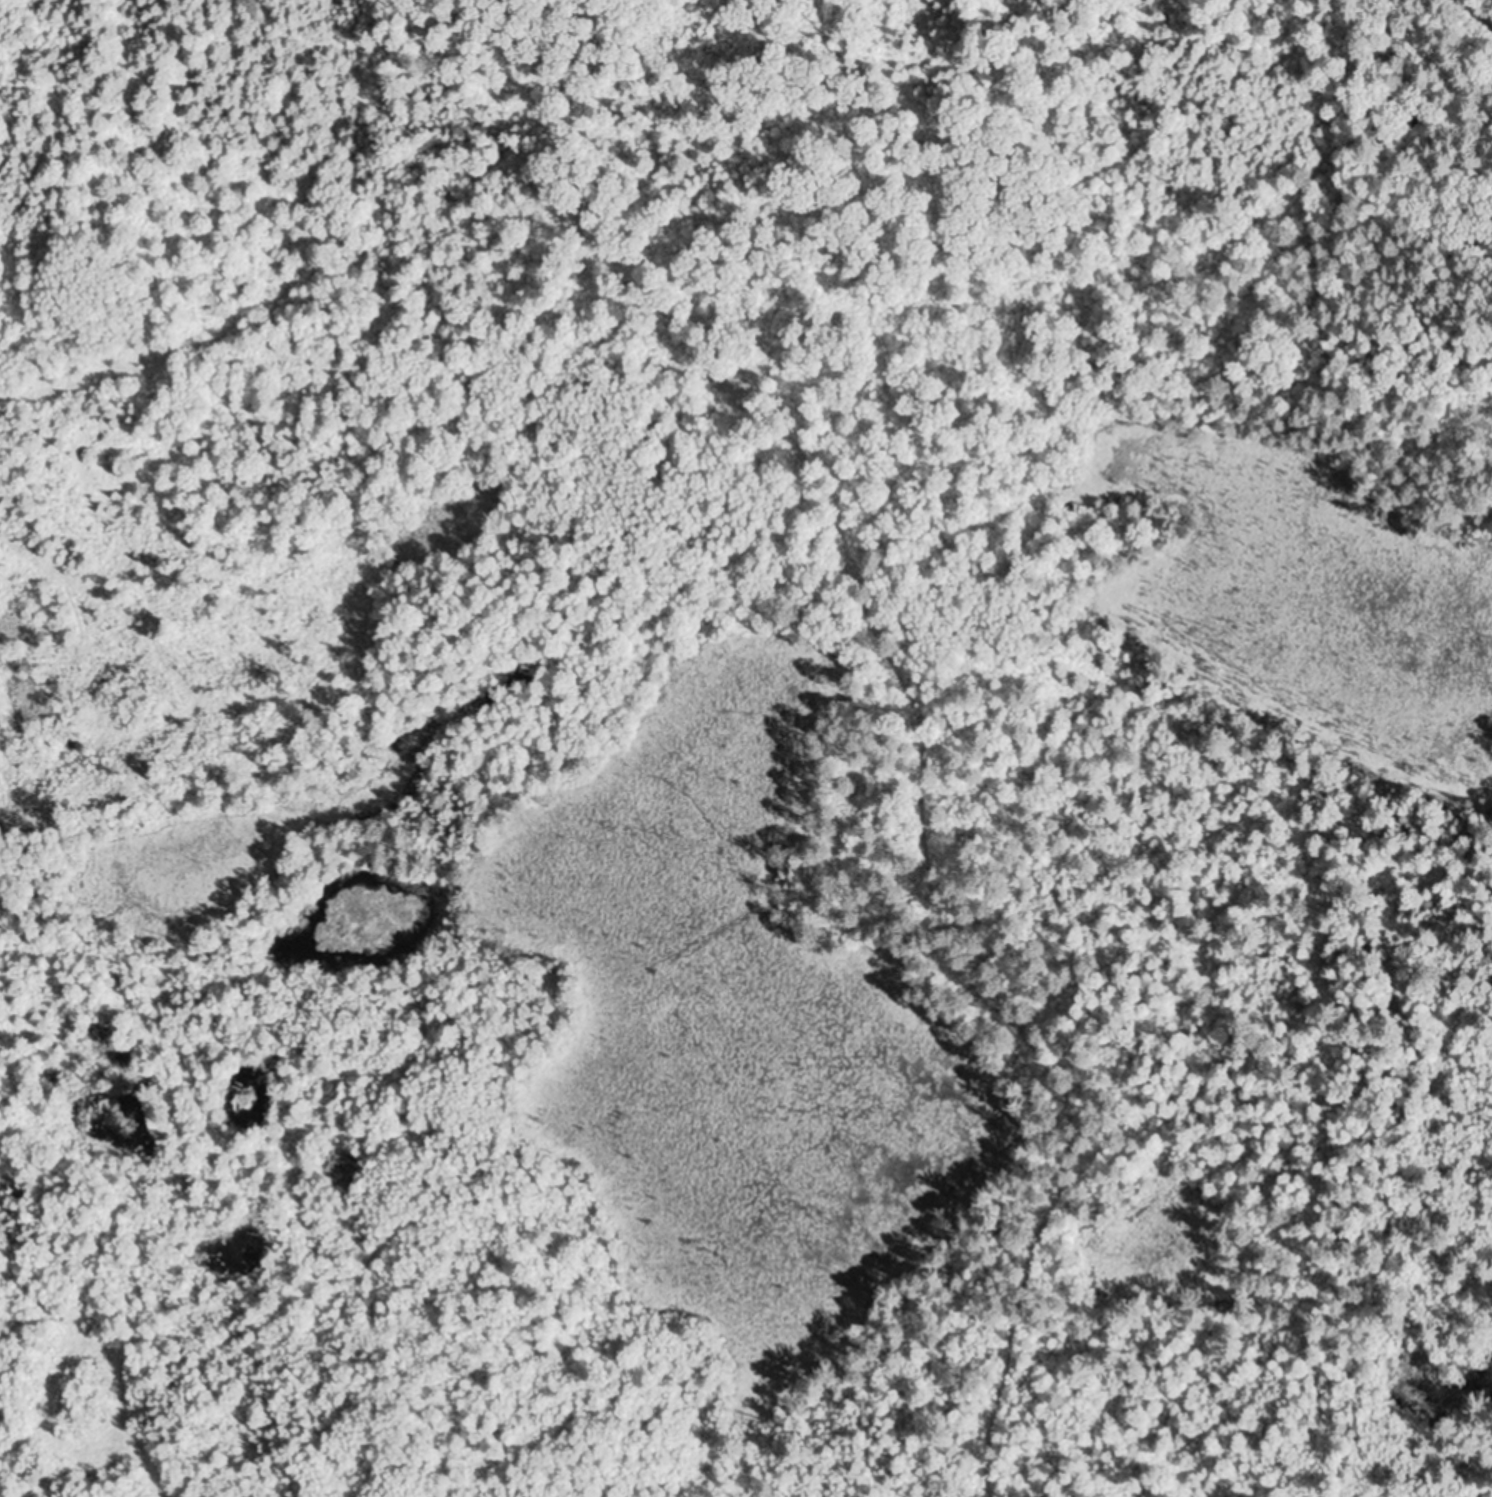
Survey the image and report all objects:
road: (1476, 14)

